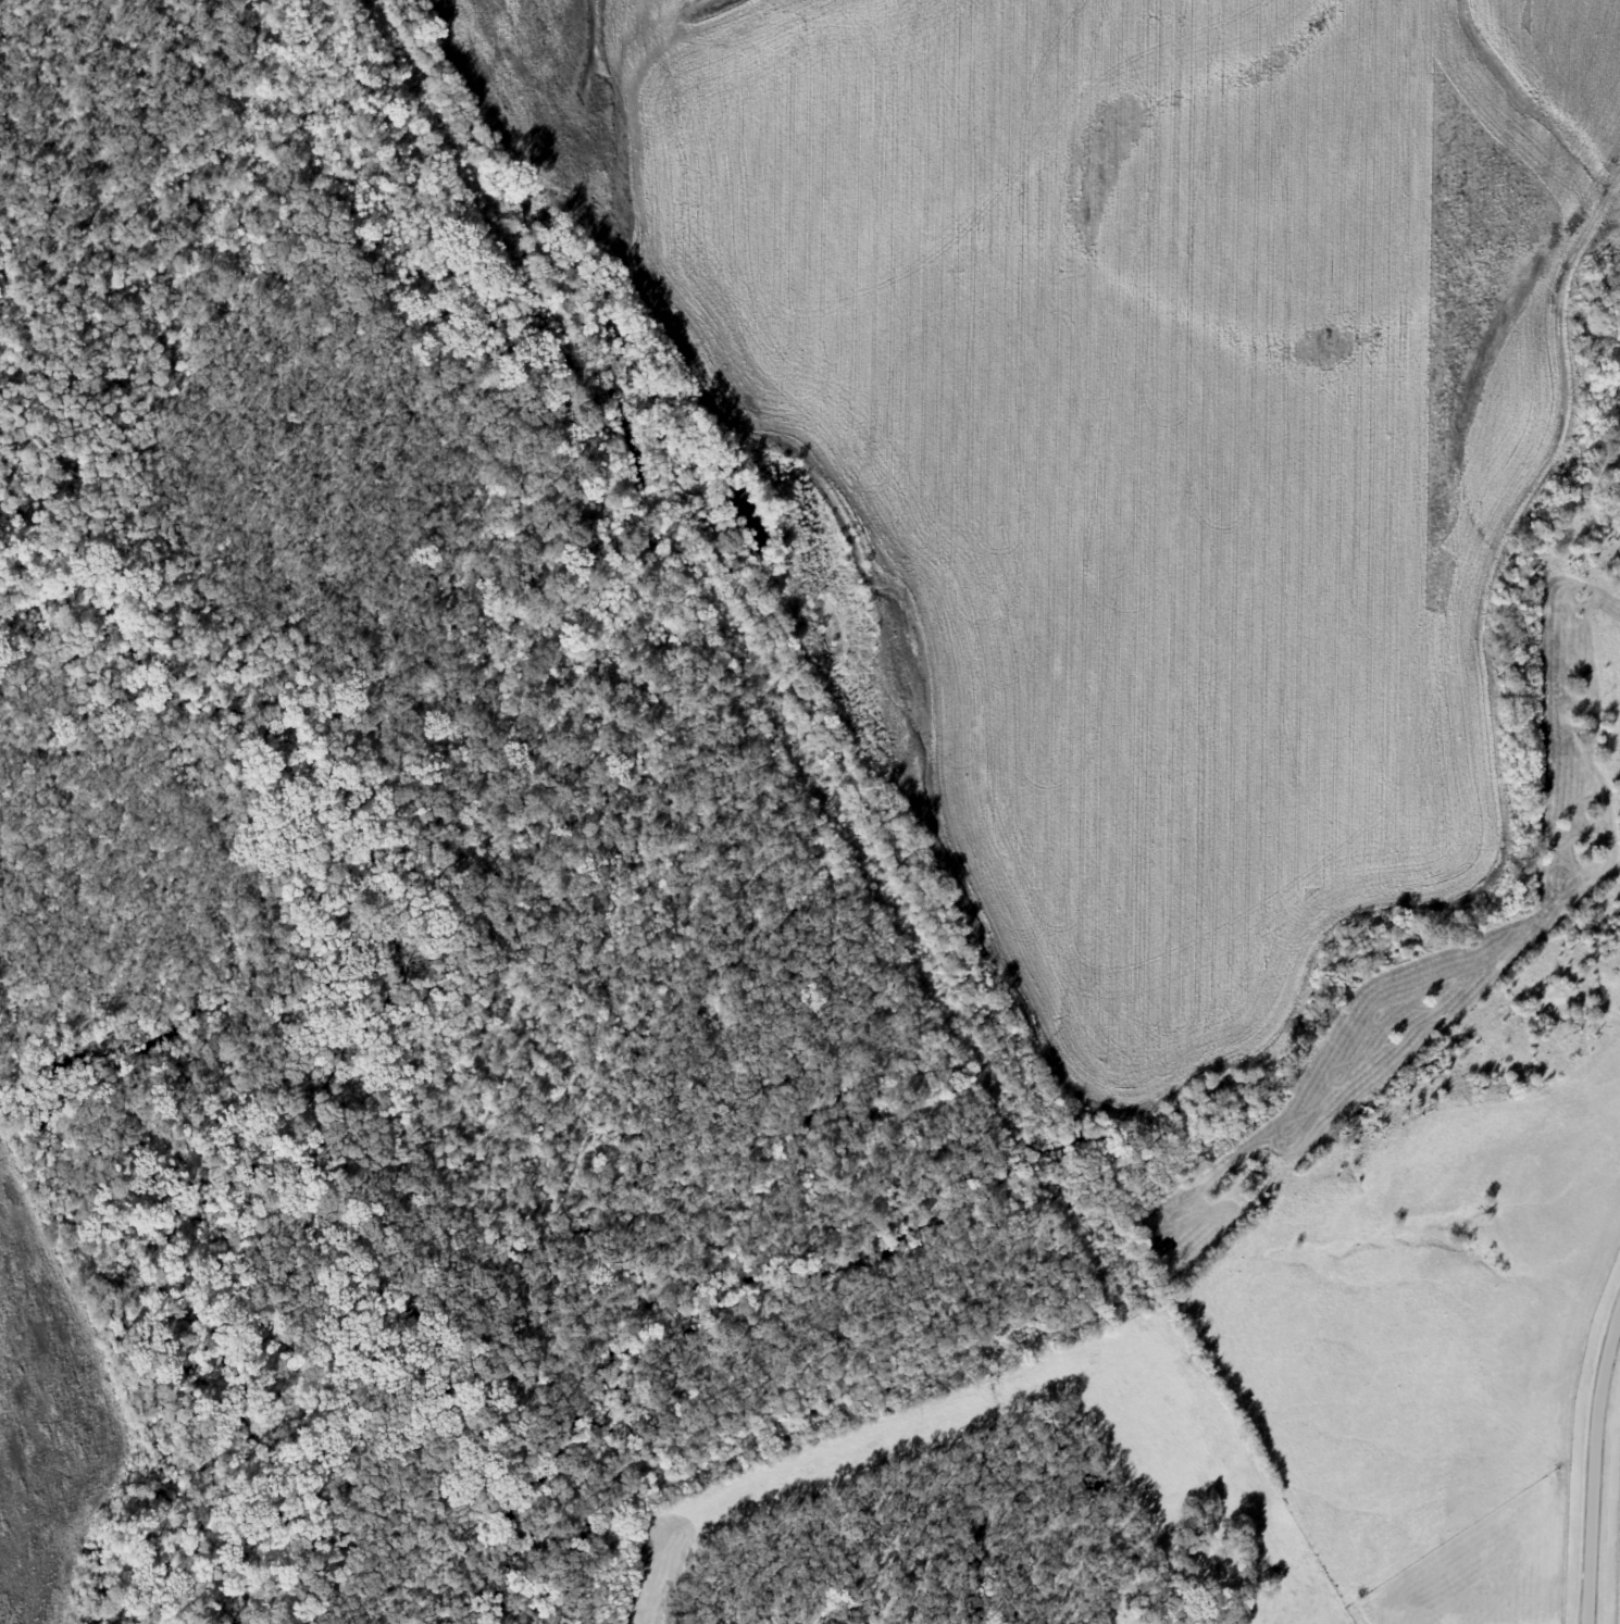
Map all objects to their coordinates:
road: (1596, 1463)

